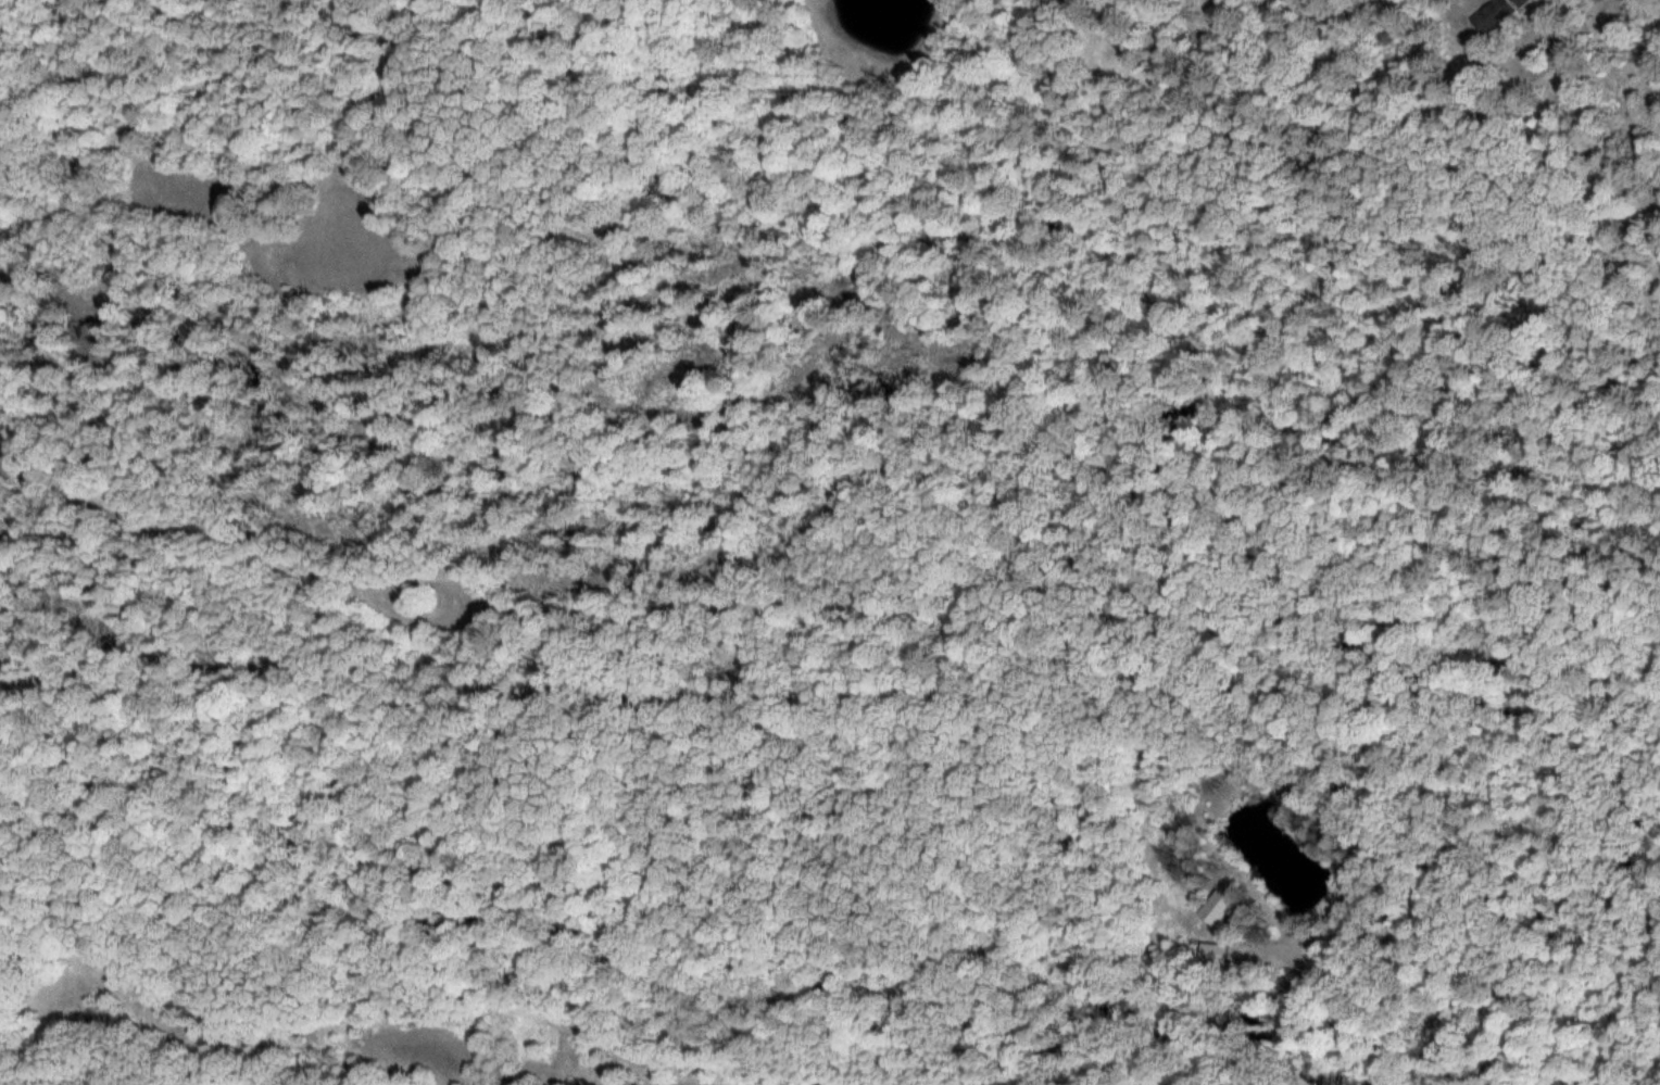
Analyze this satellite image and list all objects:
building: (1497, 14)
building: (1217, 909)
building: (1212, 955)

